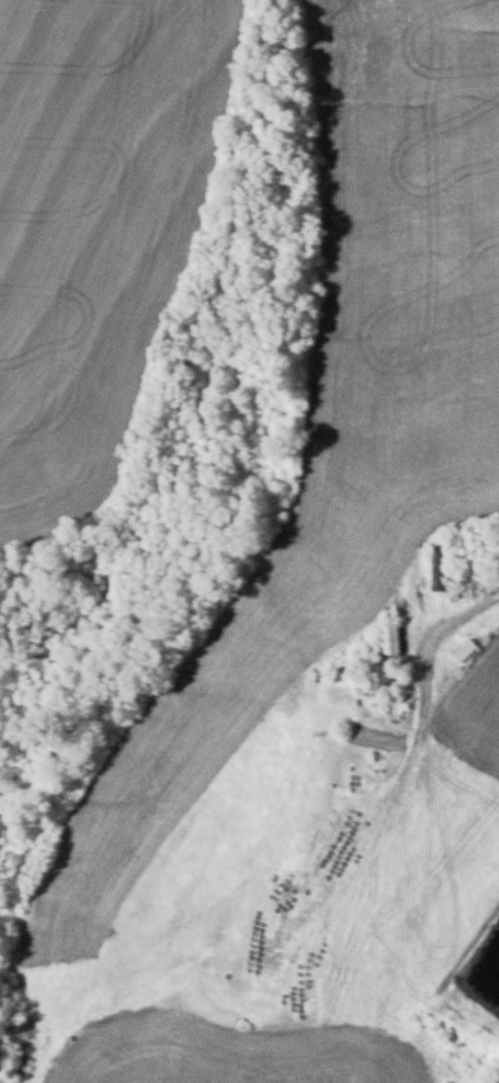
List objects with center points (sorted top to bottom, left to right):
building: (441, 568)
building: (388, 639)
building: (464, 650)
road: (432, 655)

